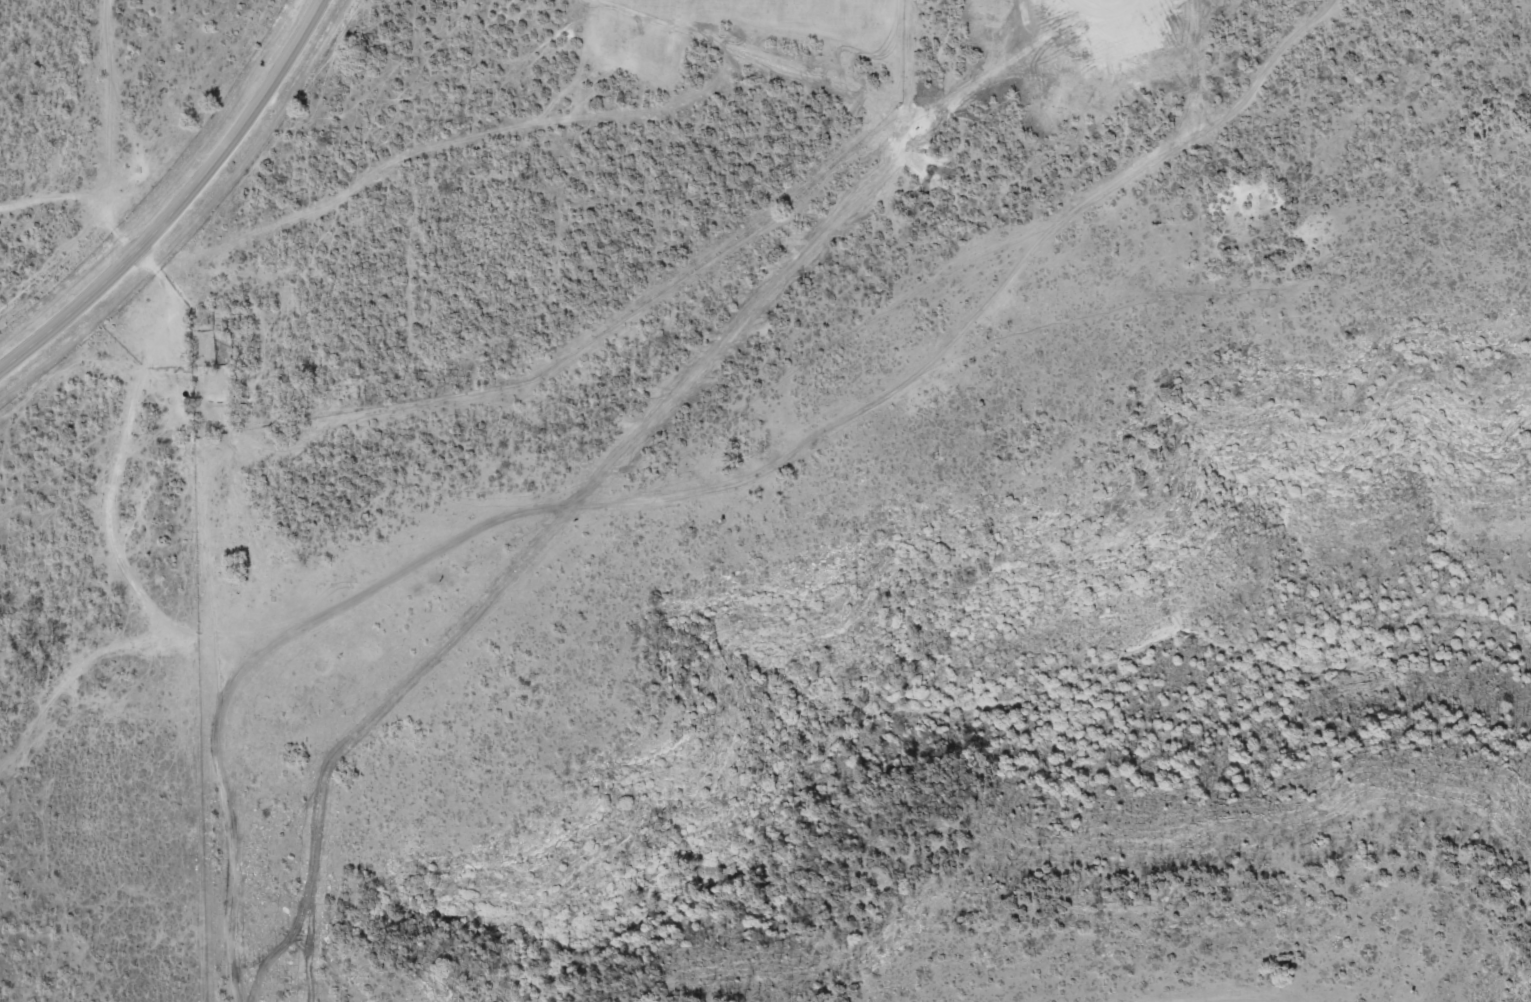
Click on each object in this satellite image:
road: (182, 202)
road: (754, 417)

